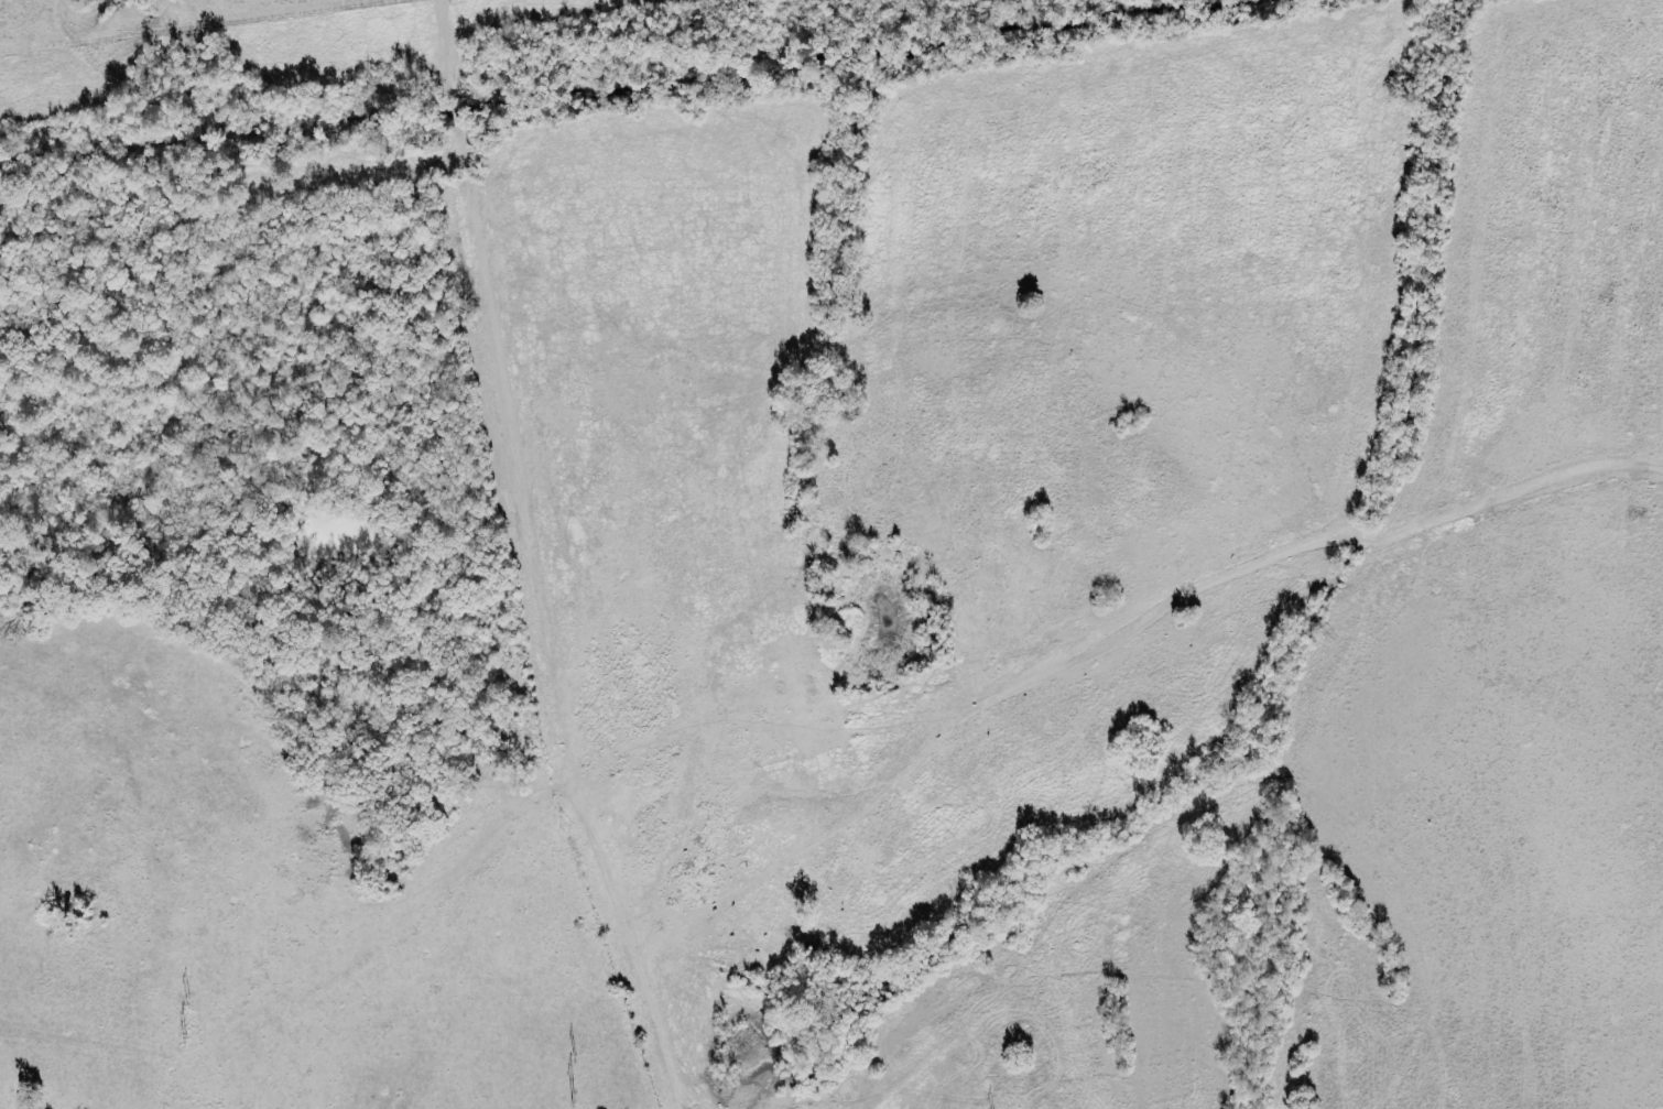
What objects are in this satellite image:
road: (528, 561)
power tower: (183, 1037)
power tower: (570, 1096)

